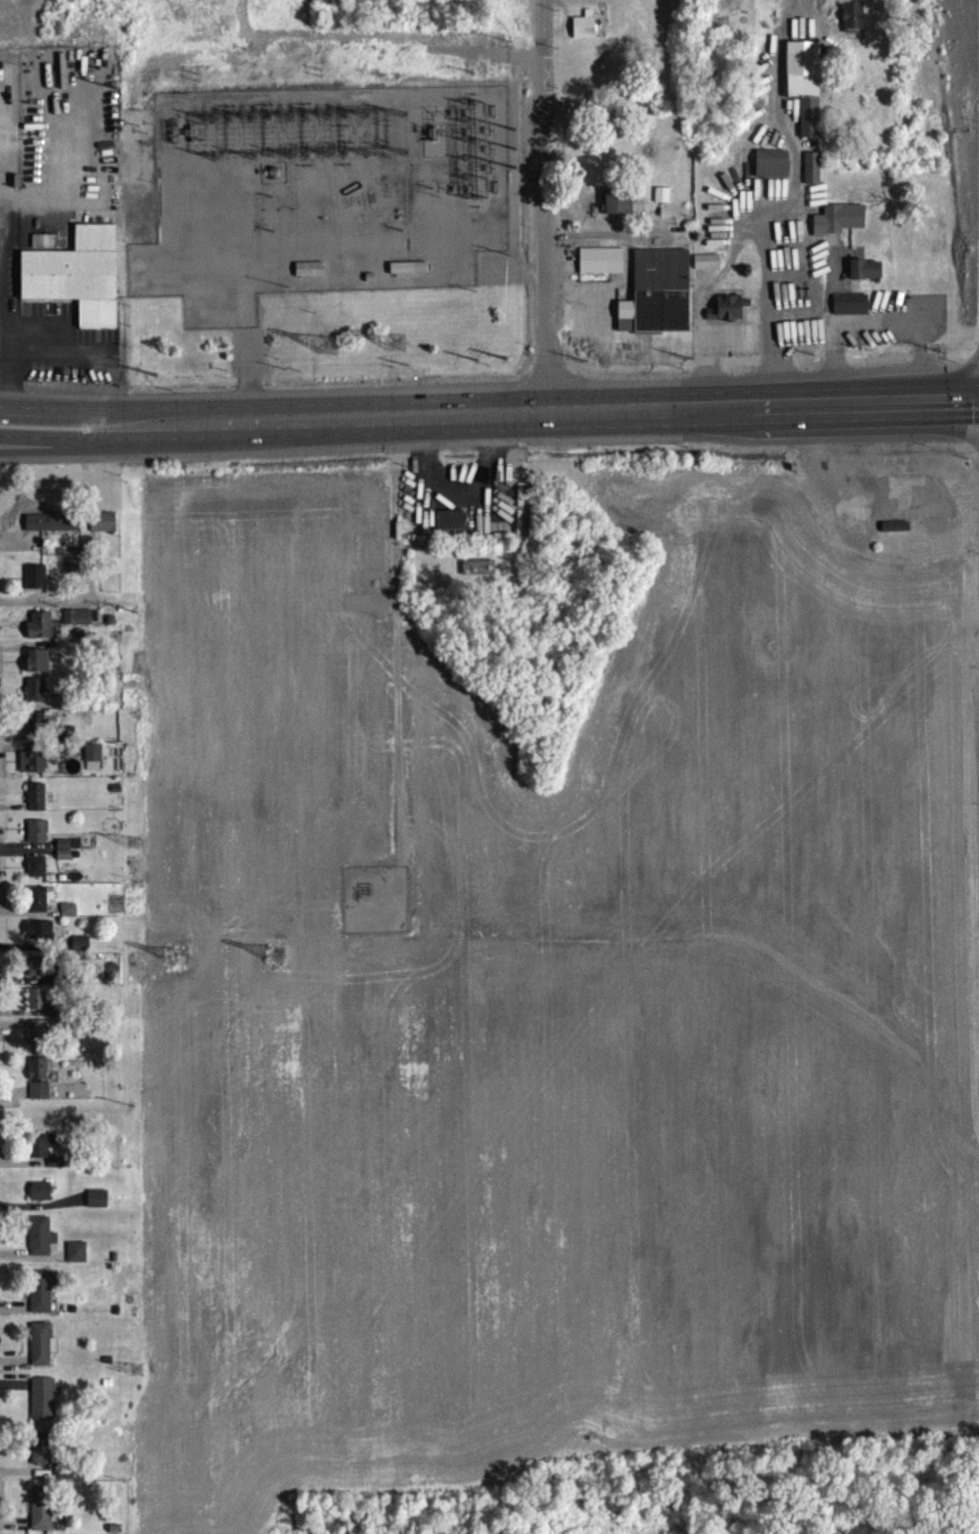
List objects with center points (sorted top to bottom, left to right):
building: (854, 26)
building: (586, 34)
road: (782, 65)
power tower: (473, 70)
power tower: (320, 71)
power tower: (198, 73)
building: (34, 80)
building: (57, 80)
power tower: (115, 86)
building: (808, 104)
power tower: (515, 146)
power tower: (514, 165)
building: (773, 171)
building: (813, 176)
power tower: (431, 185)
power tower: (272, 194)
power substation: (322, 195)
road: (545, 206)
building: (618, 210)
power tower: (402, 226)
power tower: (272, 227)
building: (840, 227)
building: (602, 269)
building: (708, 269)
building: (867, 277)
building: (79, 283)
building: (659, 300)
road: (776, 300)
building: (852, 312)
building: (728, 316)
power tower: (397, 343)
power tower: (329, 344)
road: (54, 347)
power tower: (504, 357)
power tower: (155, 374)
road: (69, 404)
road: (556, 411)
road: (29, 439)
road: (98, 439)
road: (29, 444)
building: (453, 528)
building: (52, 529)
building: (896, 534)
building: (100, 536)
building: (74, 574)
building: (480, 576)
building: (37, 584)
power tower: (135, 610)
building: (79, 625)
building: (42, 634)
building: (39, 668)
building: (37, 698)
building: (40, 730)
building: (95, 764)
building: (35, 770)
building: (38, 804)
building: (38, 839)
power tower: (132, 840)
building: (38, 874)
power substation: (375, 898)
building: (39, 907)
building: (70, 918)
building: (41, 937)
power tower: (181, 954)
power tower: (276, 954)
building: (42, 975)
building: (39, 1006)
building: (40, 1042)
building: (39, 1076)
building: (41, 1099)
power tower: (134, 1104)
building: (44, 1153)
building: (42, 1199)
building: (99, 1206)
building: (42, 1244)
building: (78, 1260)
building: (42, 1300)
building: (43, 1352)
power tower: (137, 1368)
building: (45, 1406)
building: (43, 1456)
building: (43, 1513)

